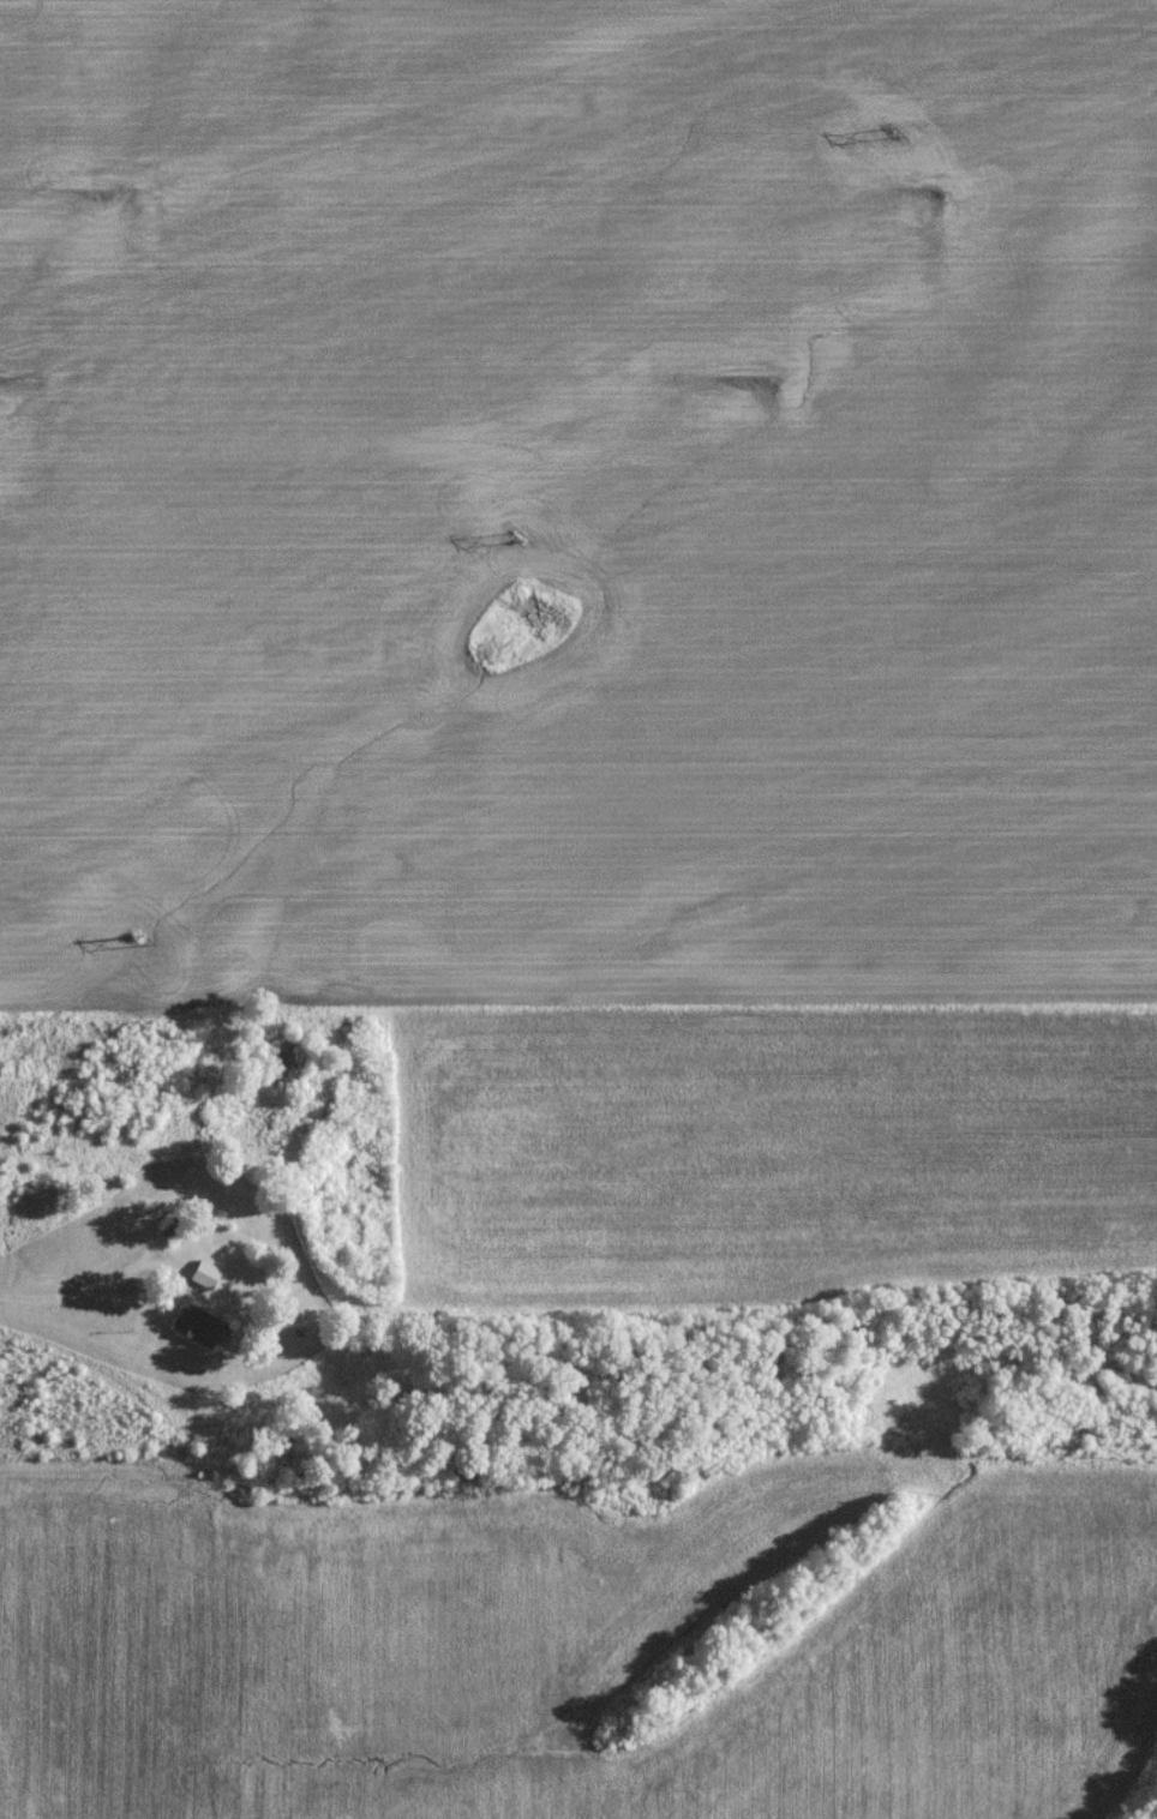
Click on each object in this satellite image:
building: (204, 1273)
road: (82, 1287)
building: (194, 1323)

